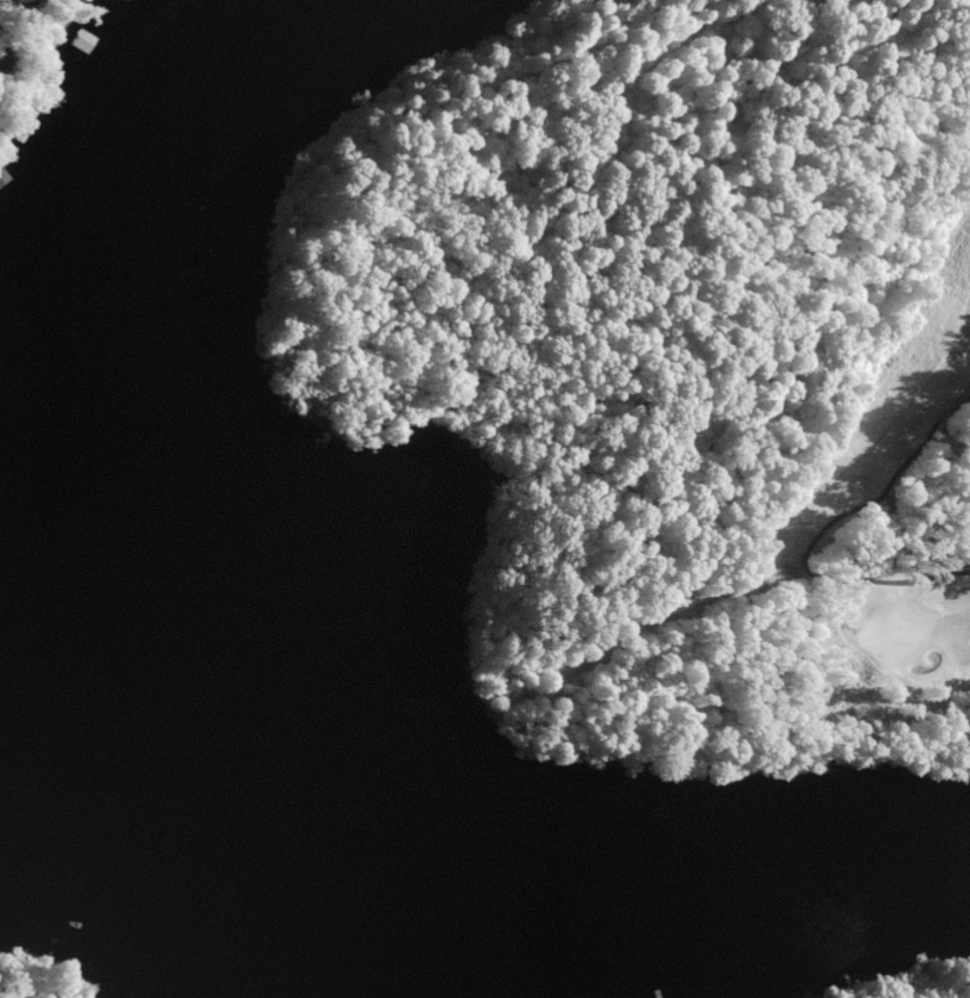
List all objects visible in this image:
building: (115, 0)
building: (9, 7)
building: (75, 42)
building: (45, 98)
building: (0, 180)
park: (676, 375)
park: (849, 483)
park: (913, 981)
park: (25, 982)

